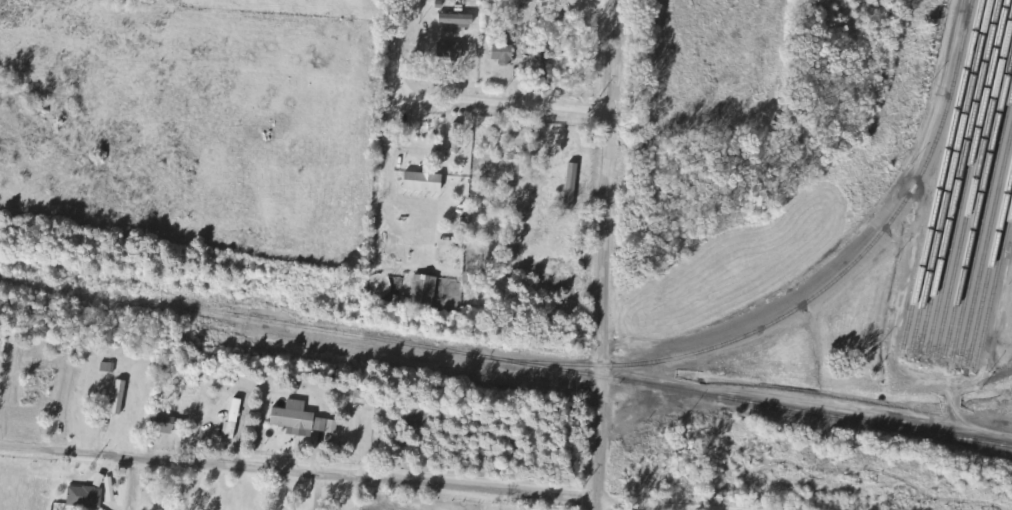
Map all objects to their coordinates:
building: (458, 20)
building: (452, 50)
building: (504, 53)
road: (502, 107)
road: (395, 112)
railway: (941, 172)
railway: (949, 174)
railway: (958, 175)
railway: (966, 176)
building: (425, 180)
railway: (973, 181)
building: (572, 186)
railway: (978, 204)
railway: (981, 224)
railway: (985, 243)
road: (602, 250)
railway: (990, 264)
railway: (993, 286)
railway: (89, 289)
railway: (819, 290)
building: (425, 291)
building: (108, 367)
railway: (595, 375)
building: (358, 396)
building: (120, 397)
building: (234, 418)
building: (303, 420)
building: (168, 424)
road: (352, 479)
road: (132, 484)
building: (86, 497)
road: (595, 506)

